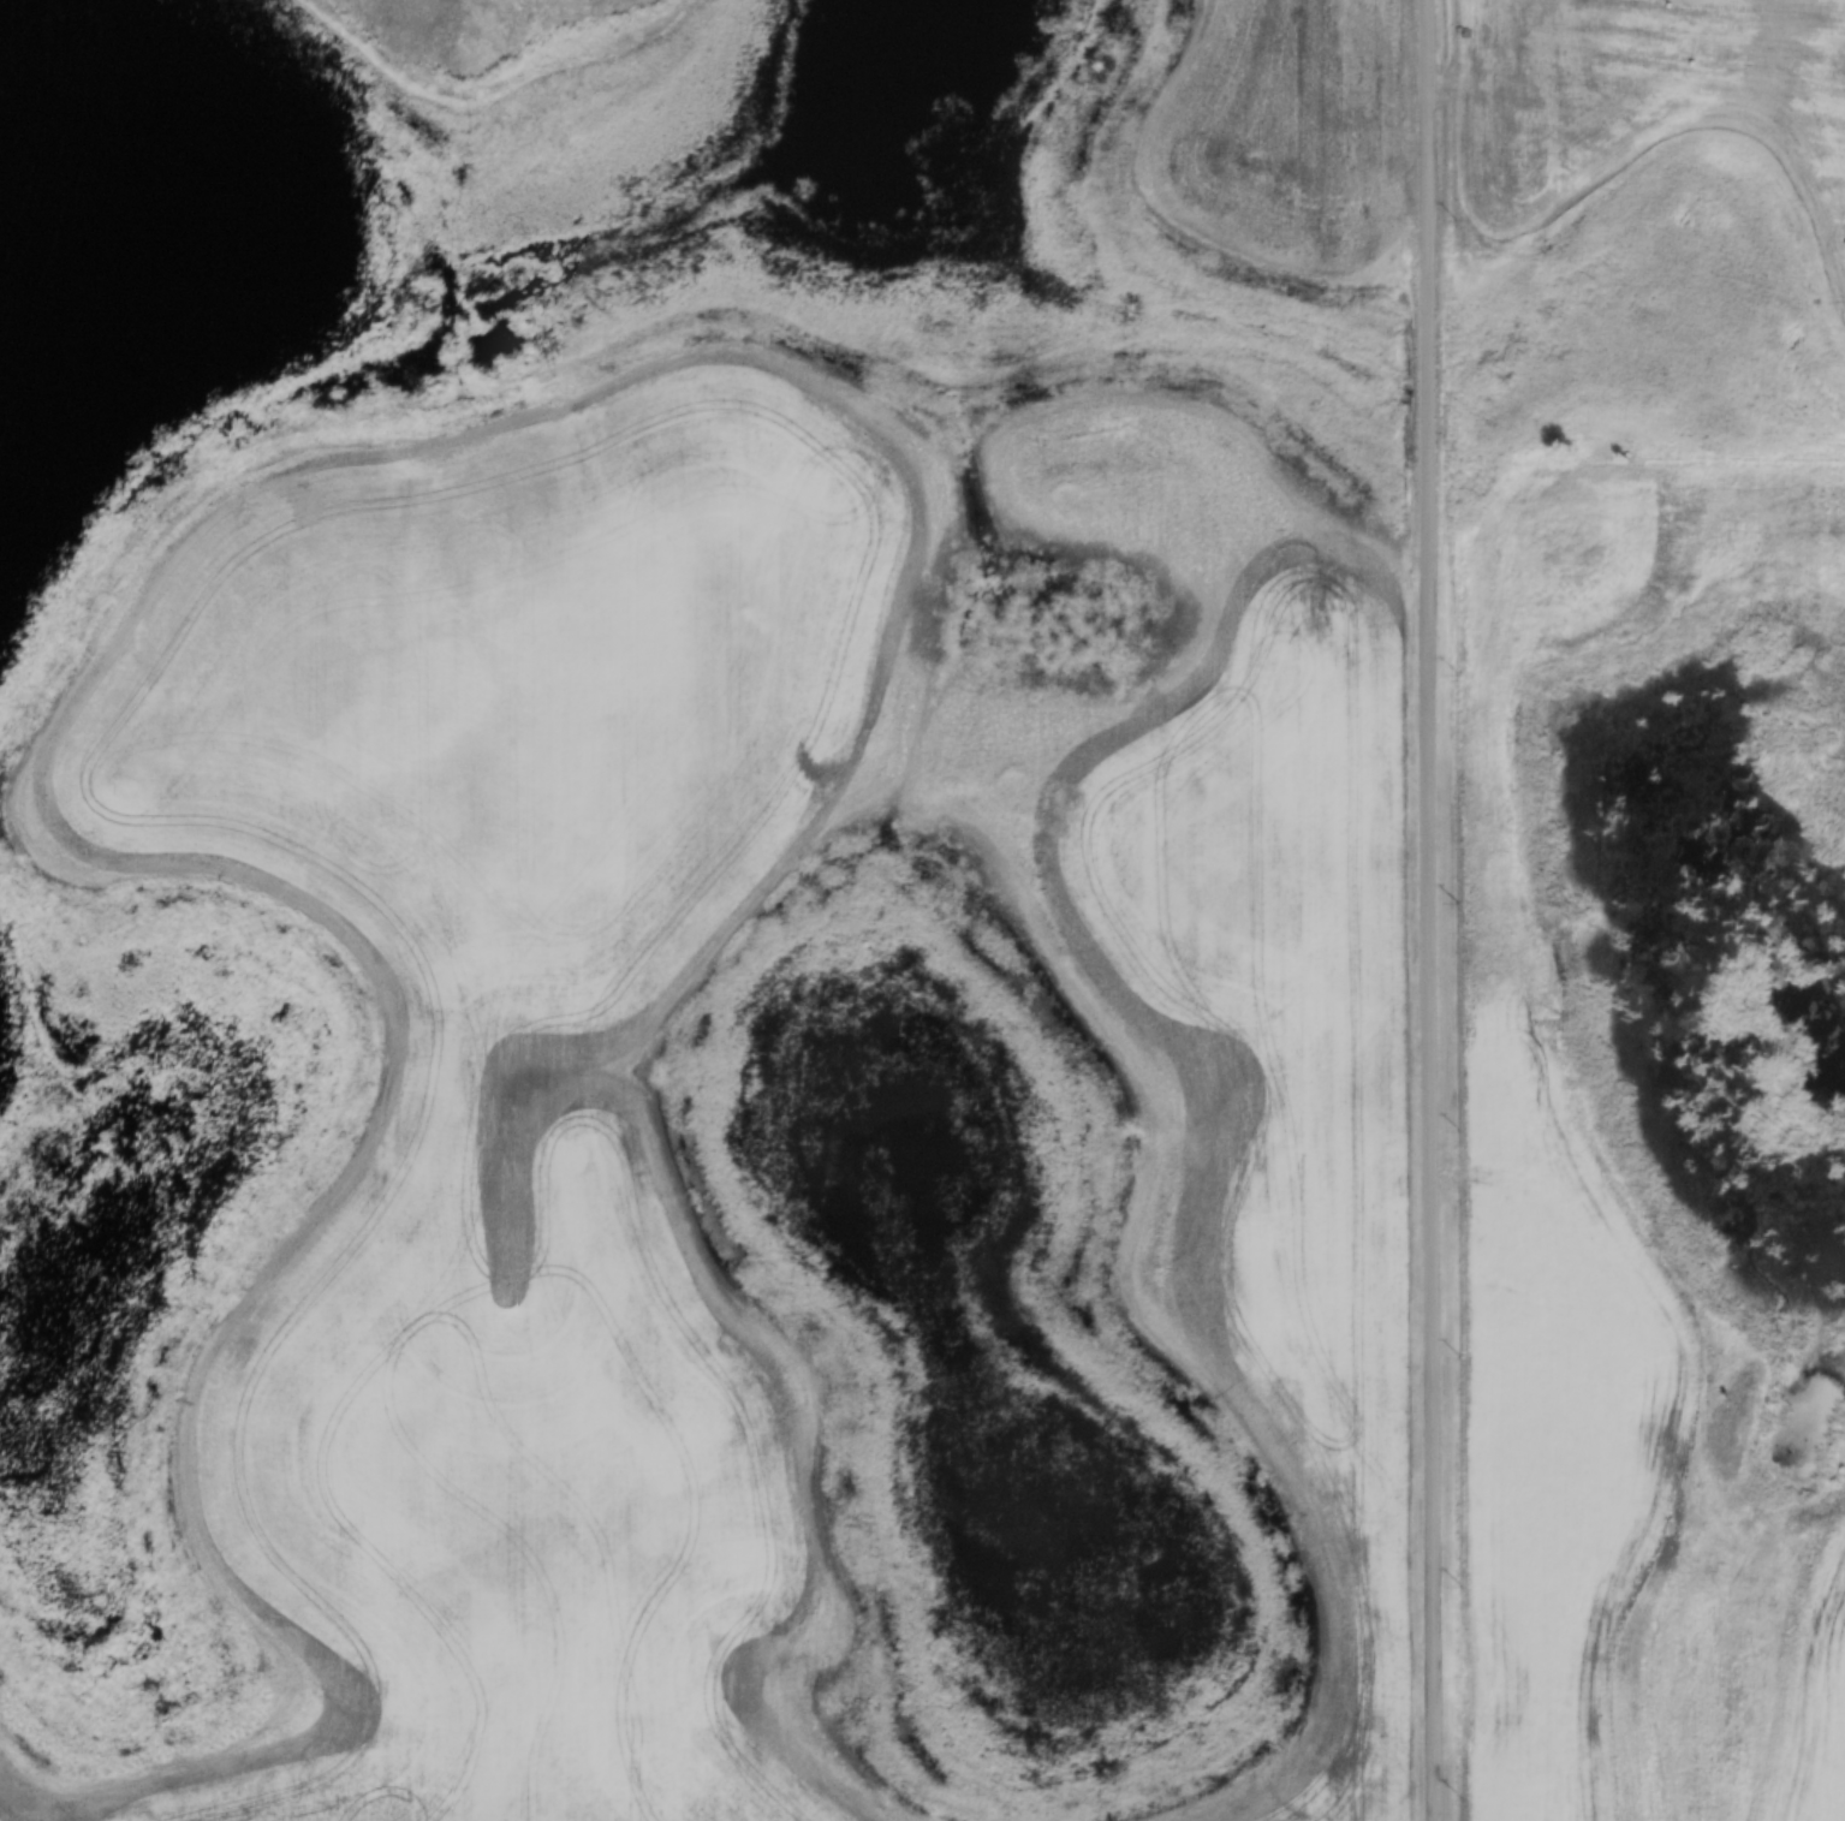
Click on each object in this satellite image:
road: (1426, 910)

